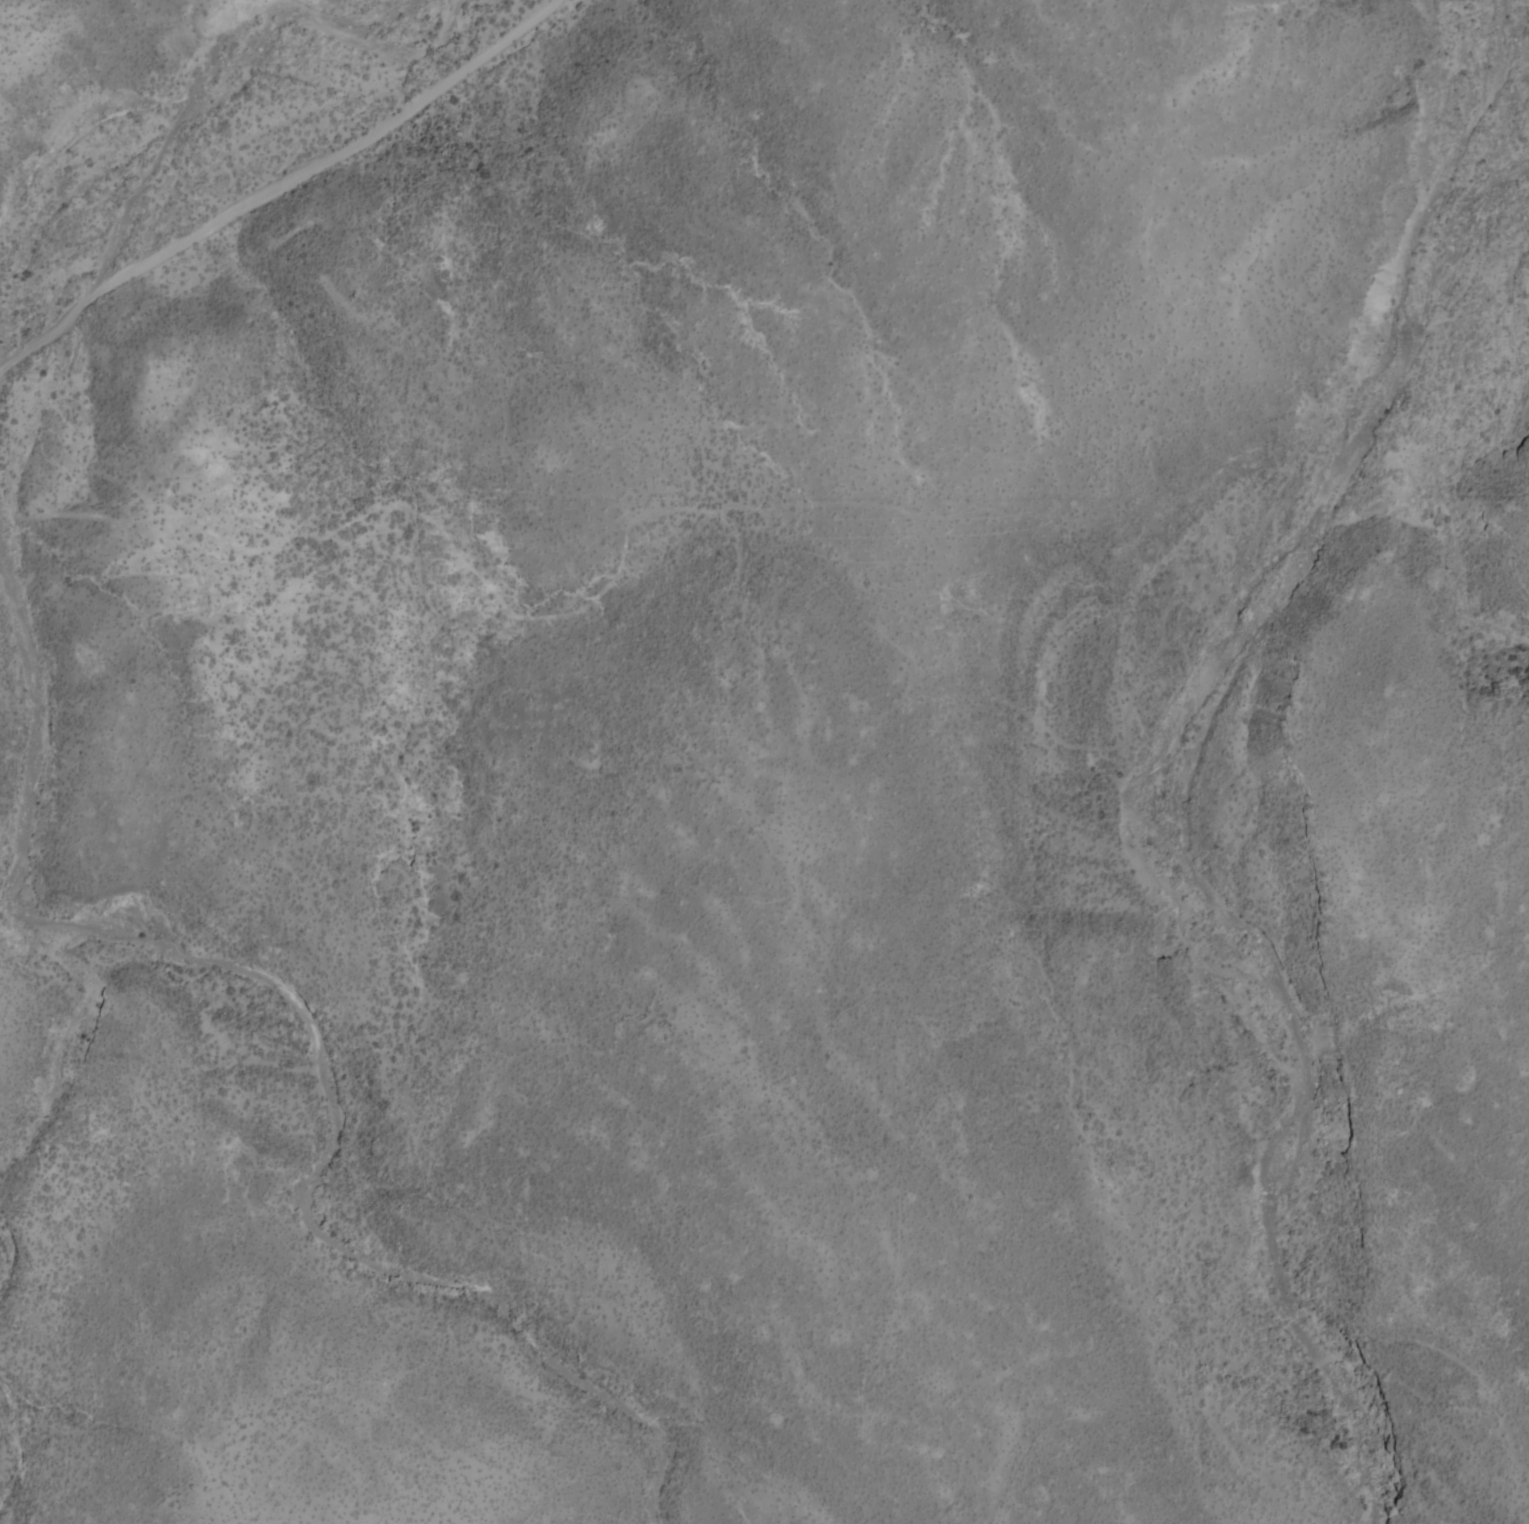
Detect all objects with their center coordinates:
road: (277, 187)

